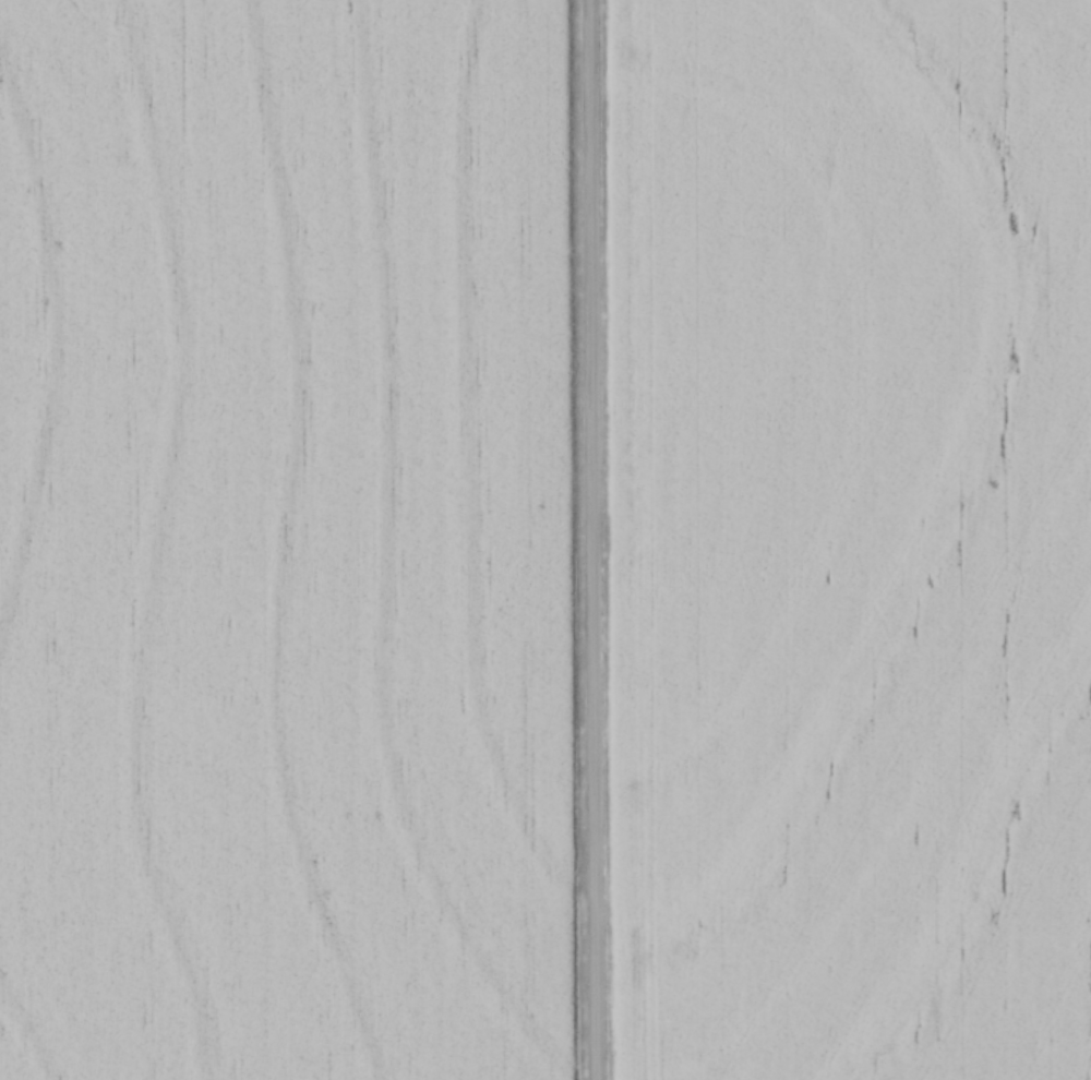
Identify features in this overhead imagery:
road: (595, 540)

